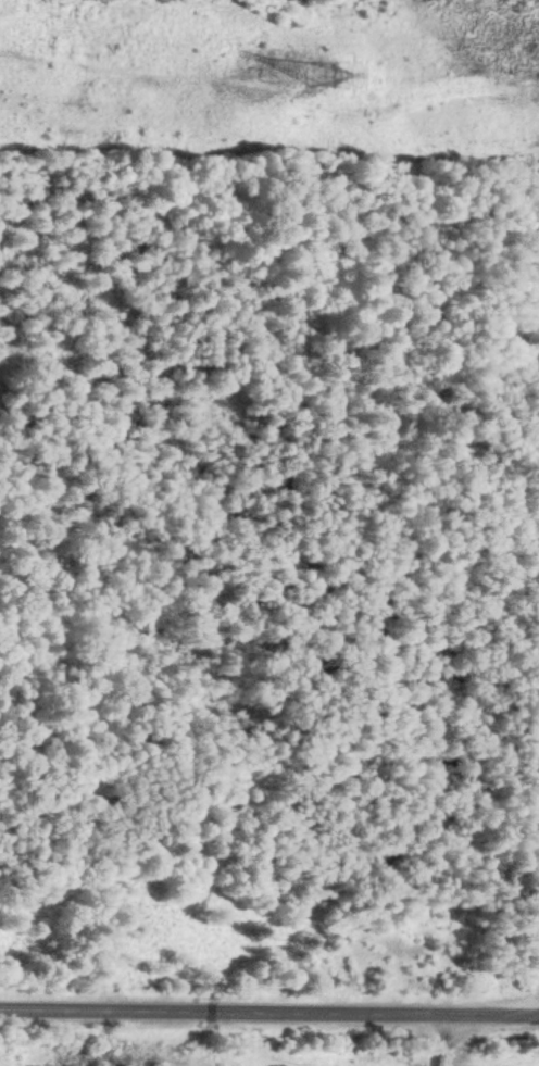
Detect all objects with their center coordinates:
power tower: (339, 67)
road: (268, 1013)
road: (435, 1040)

